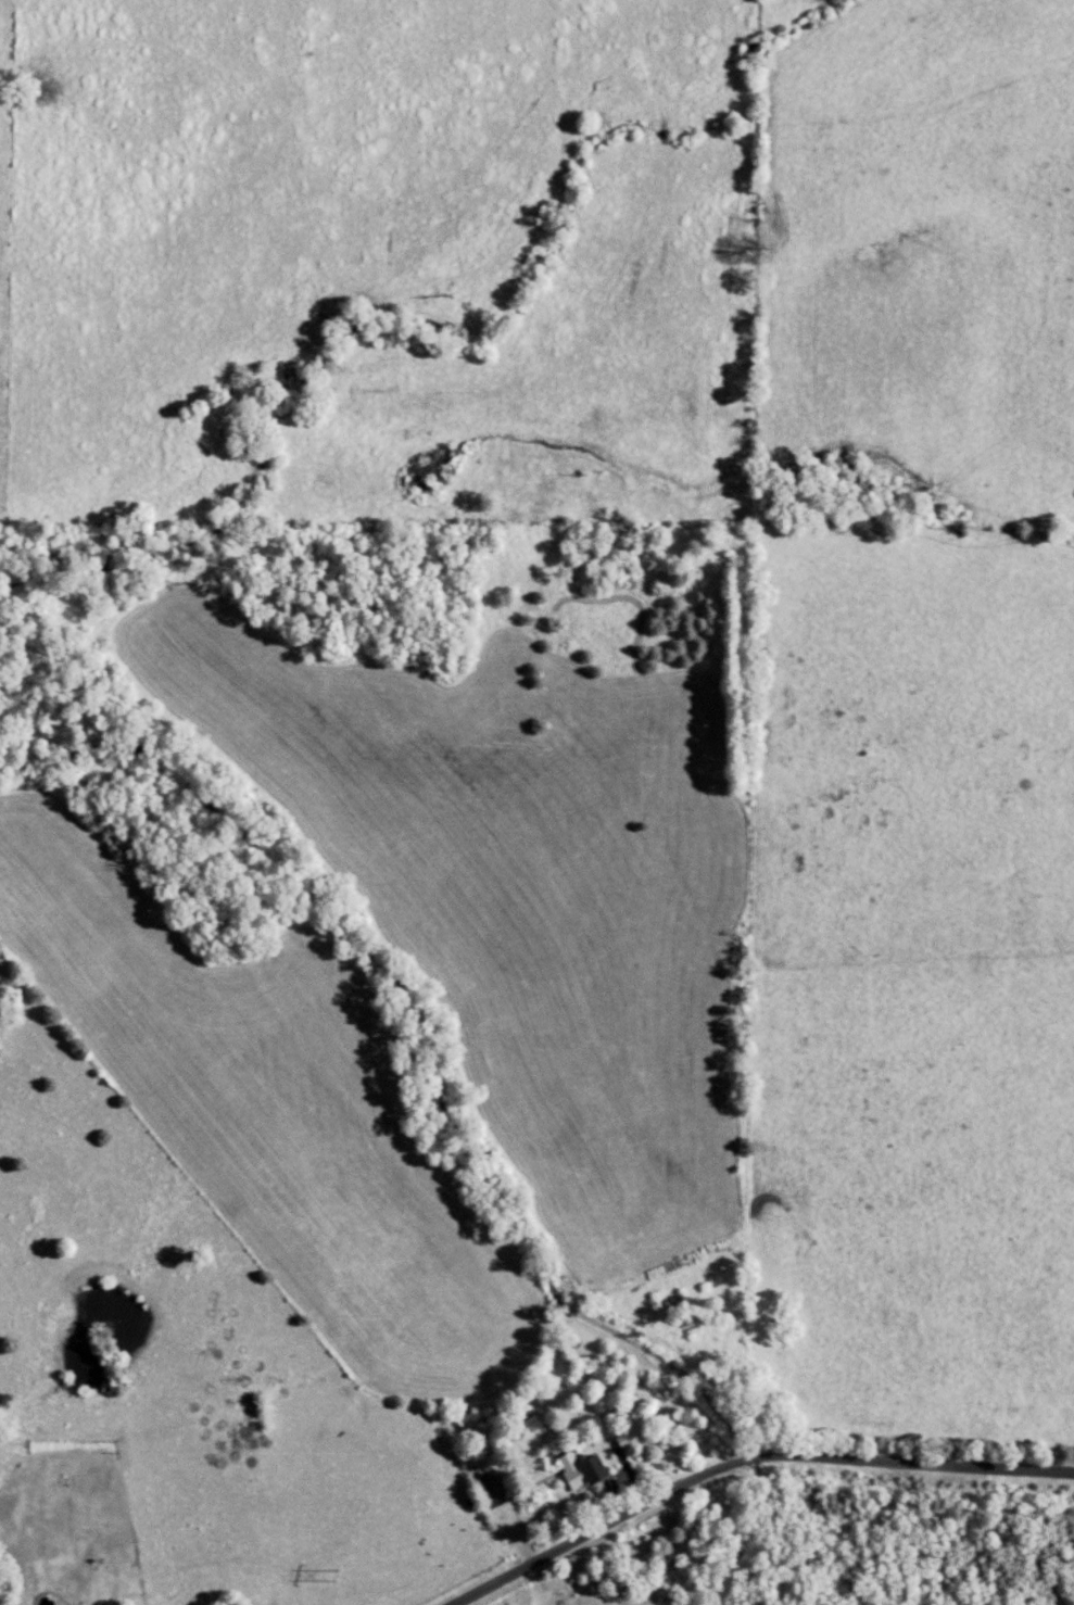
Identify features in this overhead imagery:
road: (749, 1456)
building: (586, 1469)
building: (500, 1488)
power tower: (334, 1578)

